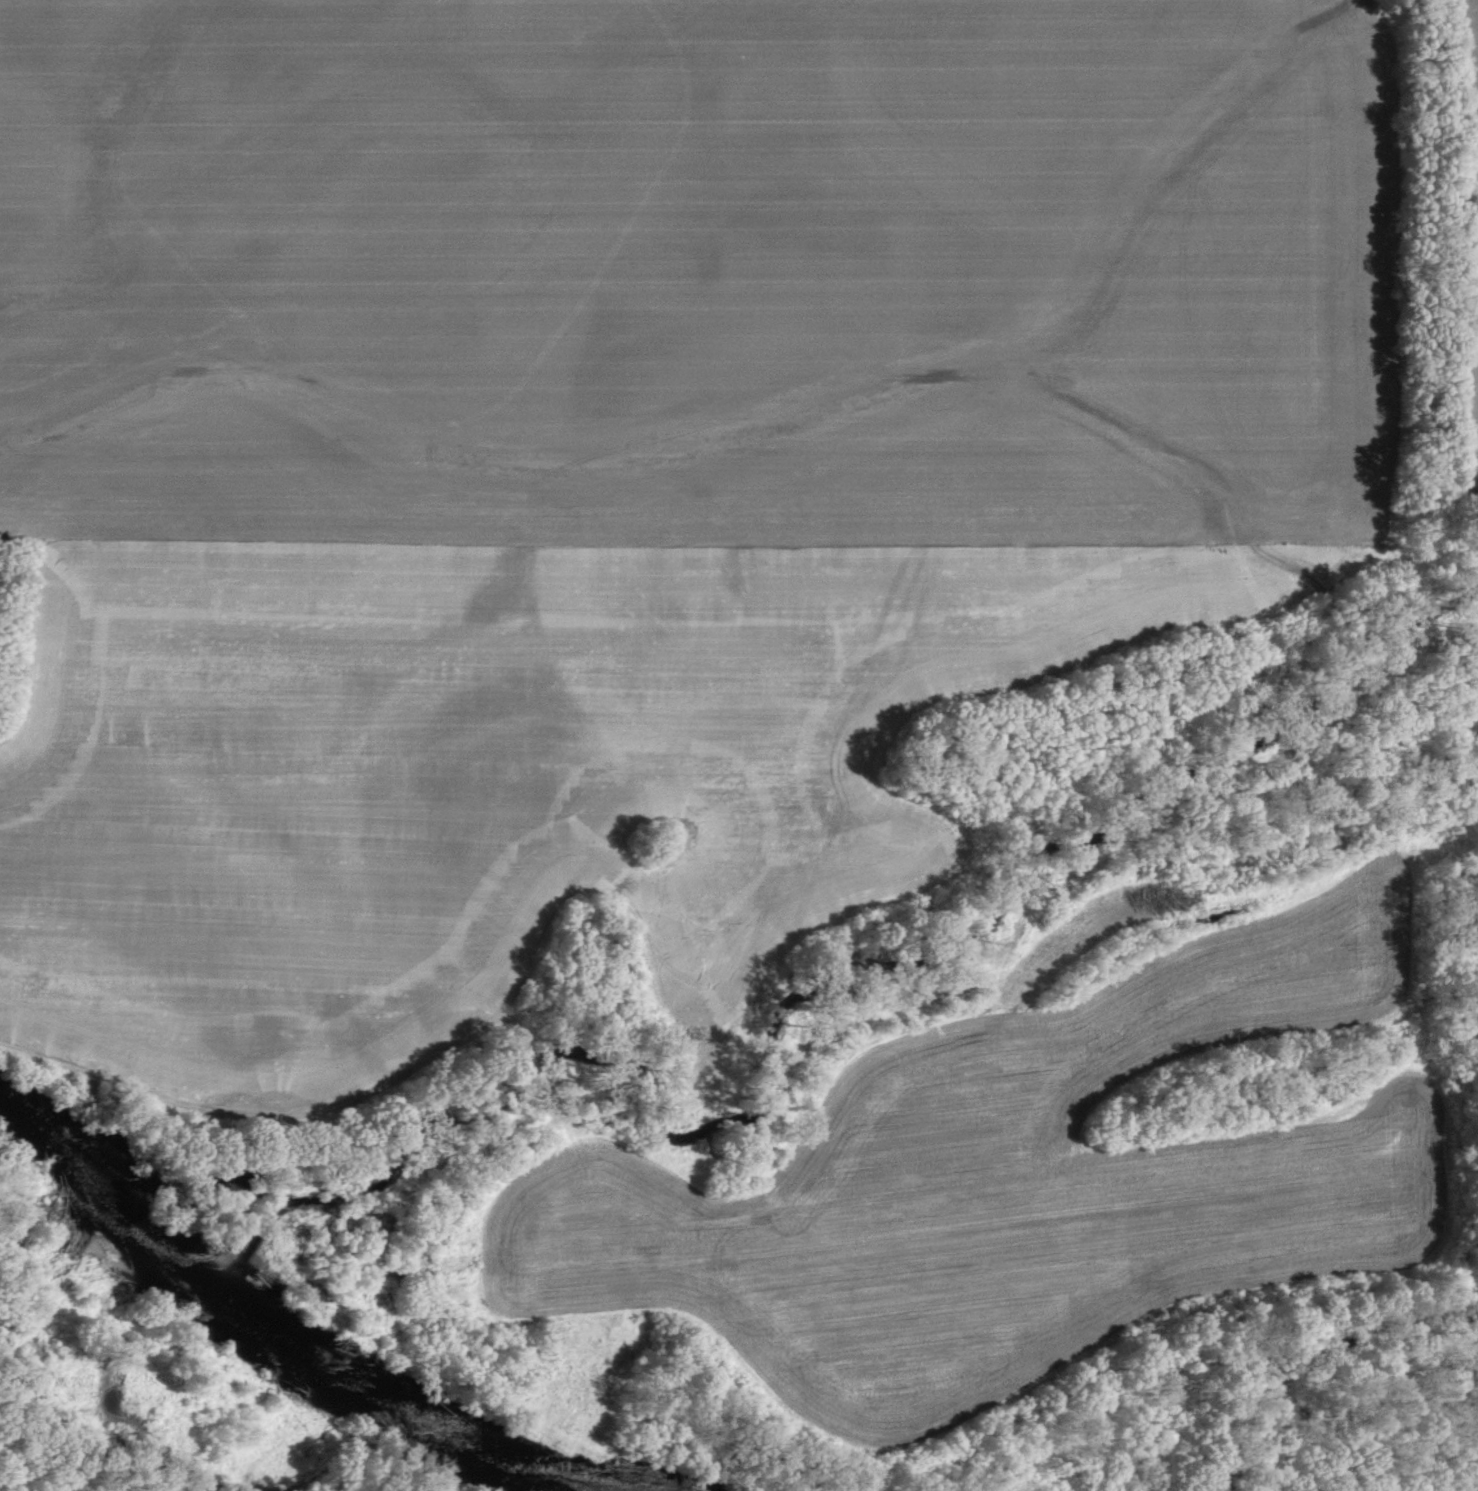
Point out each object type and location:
river: (242, 1330)

